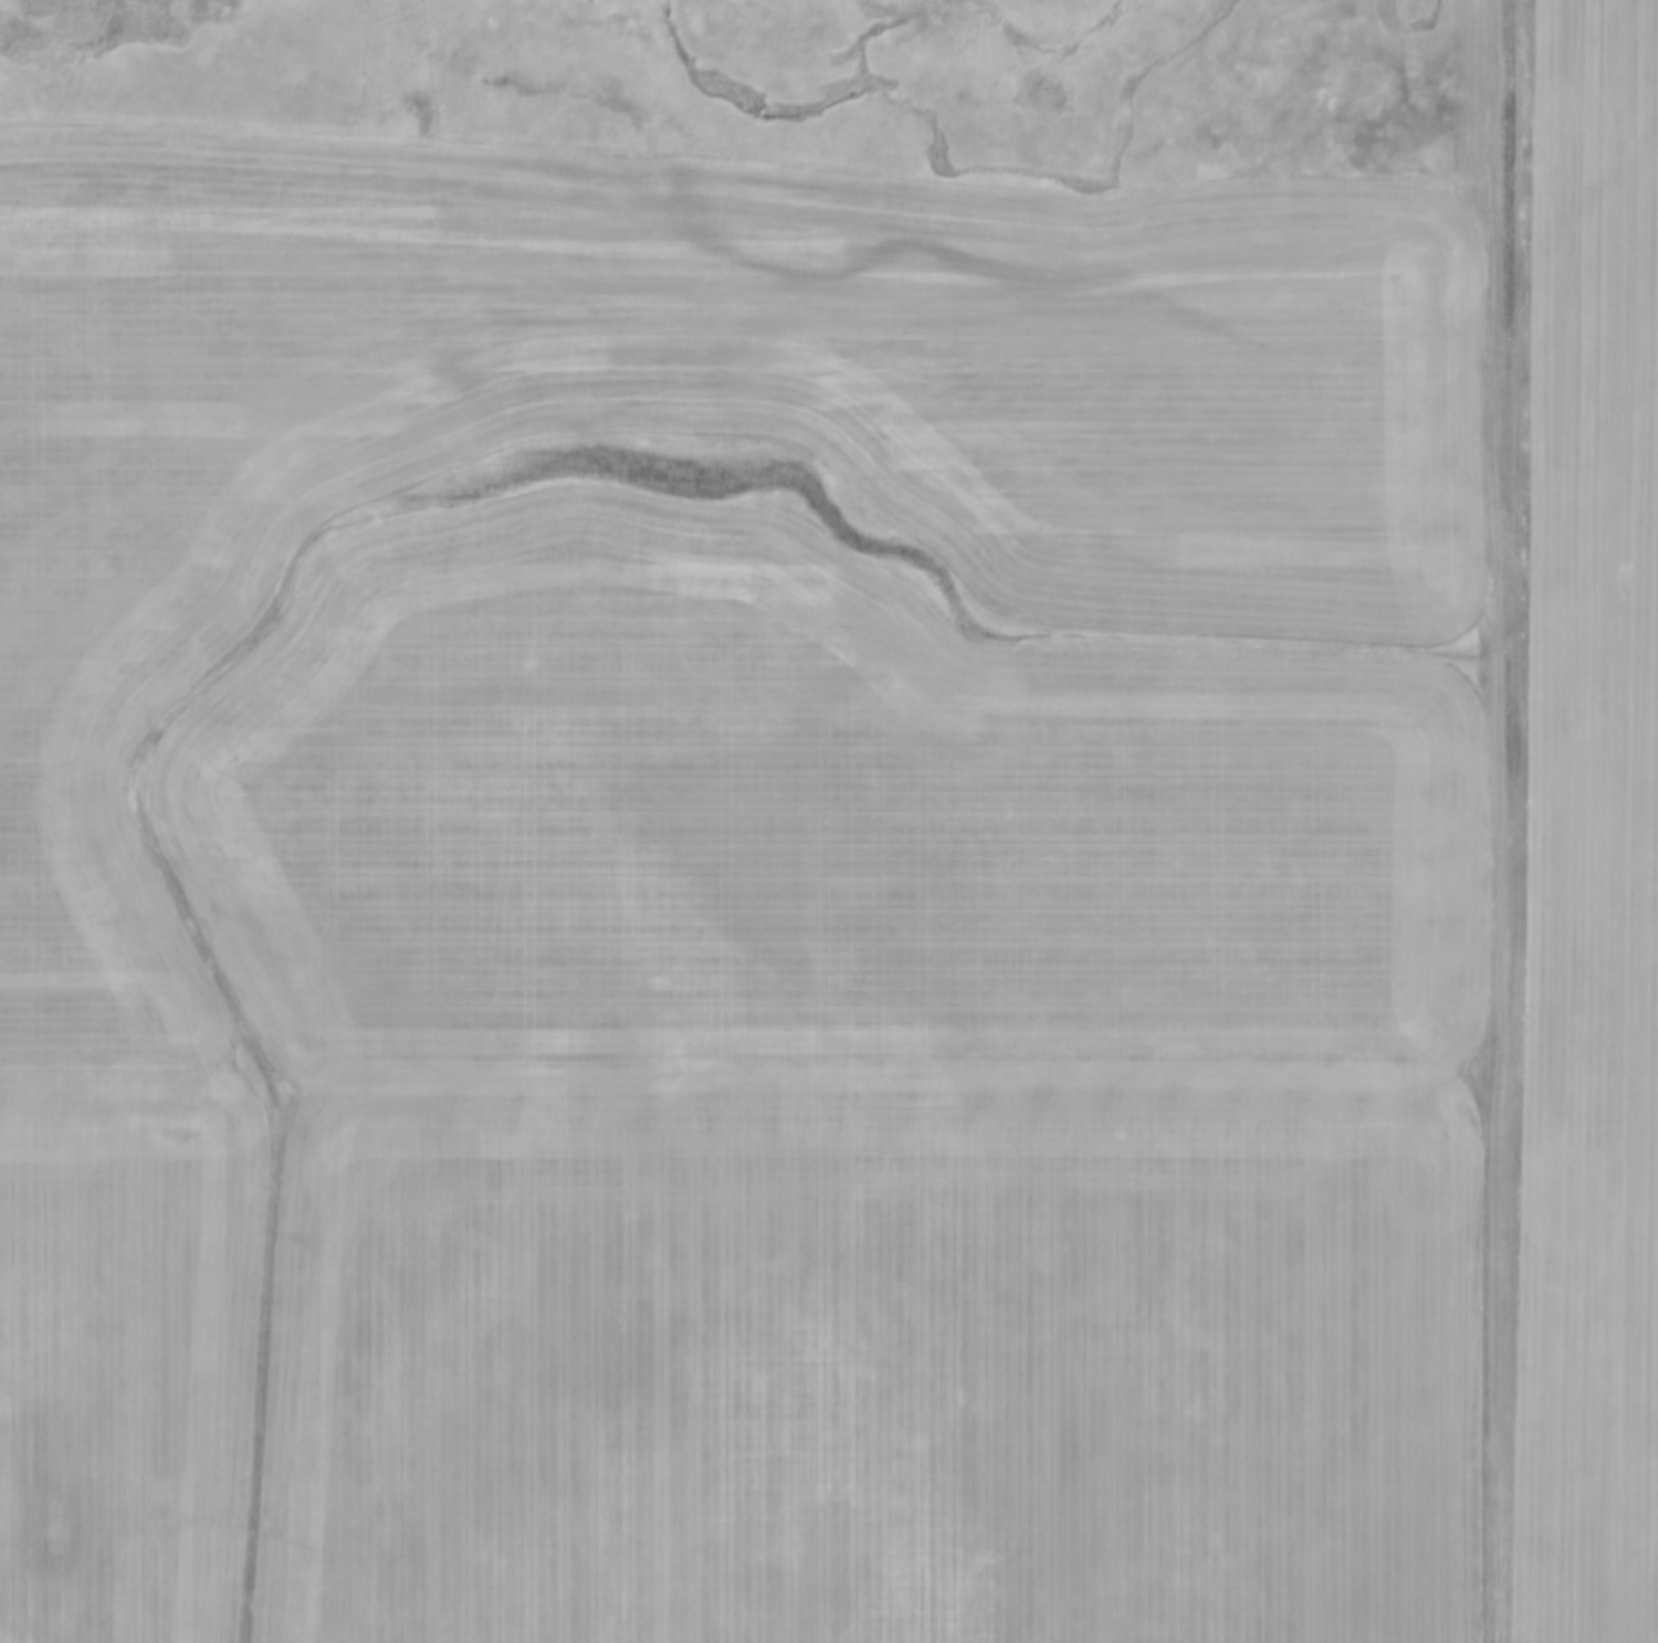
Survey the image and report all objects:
road: (1501, 821)

